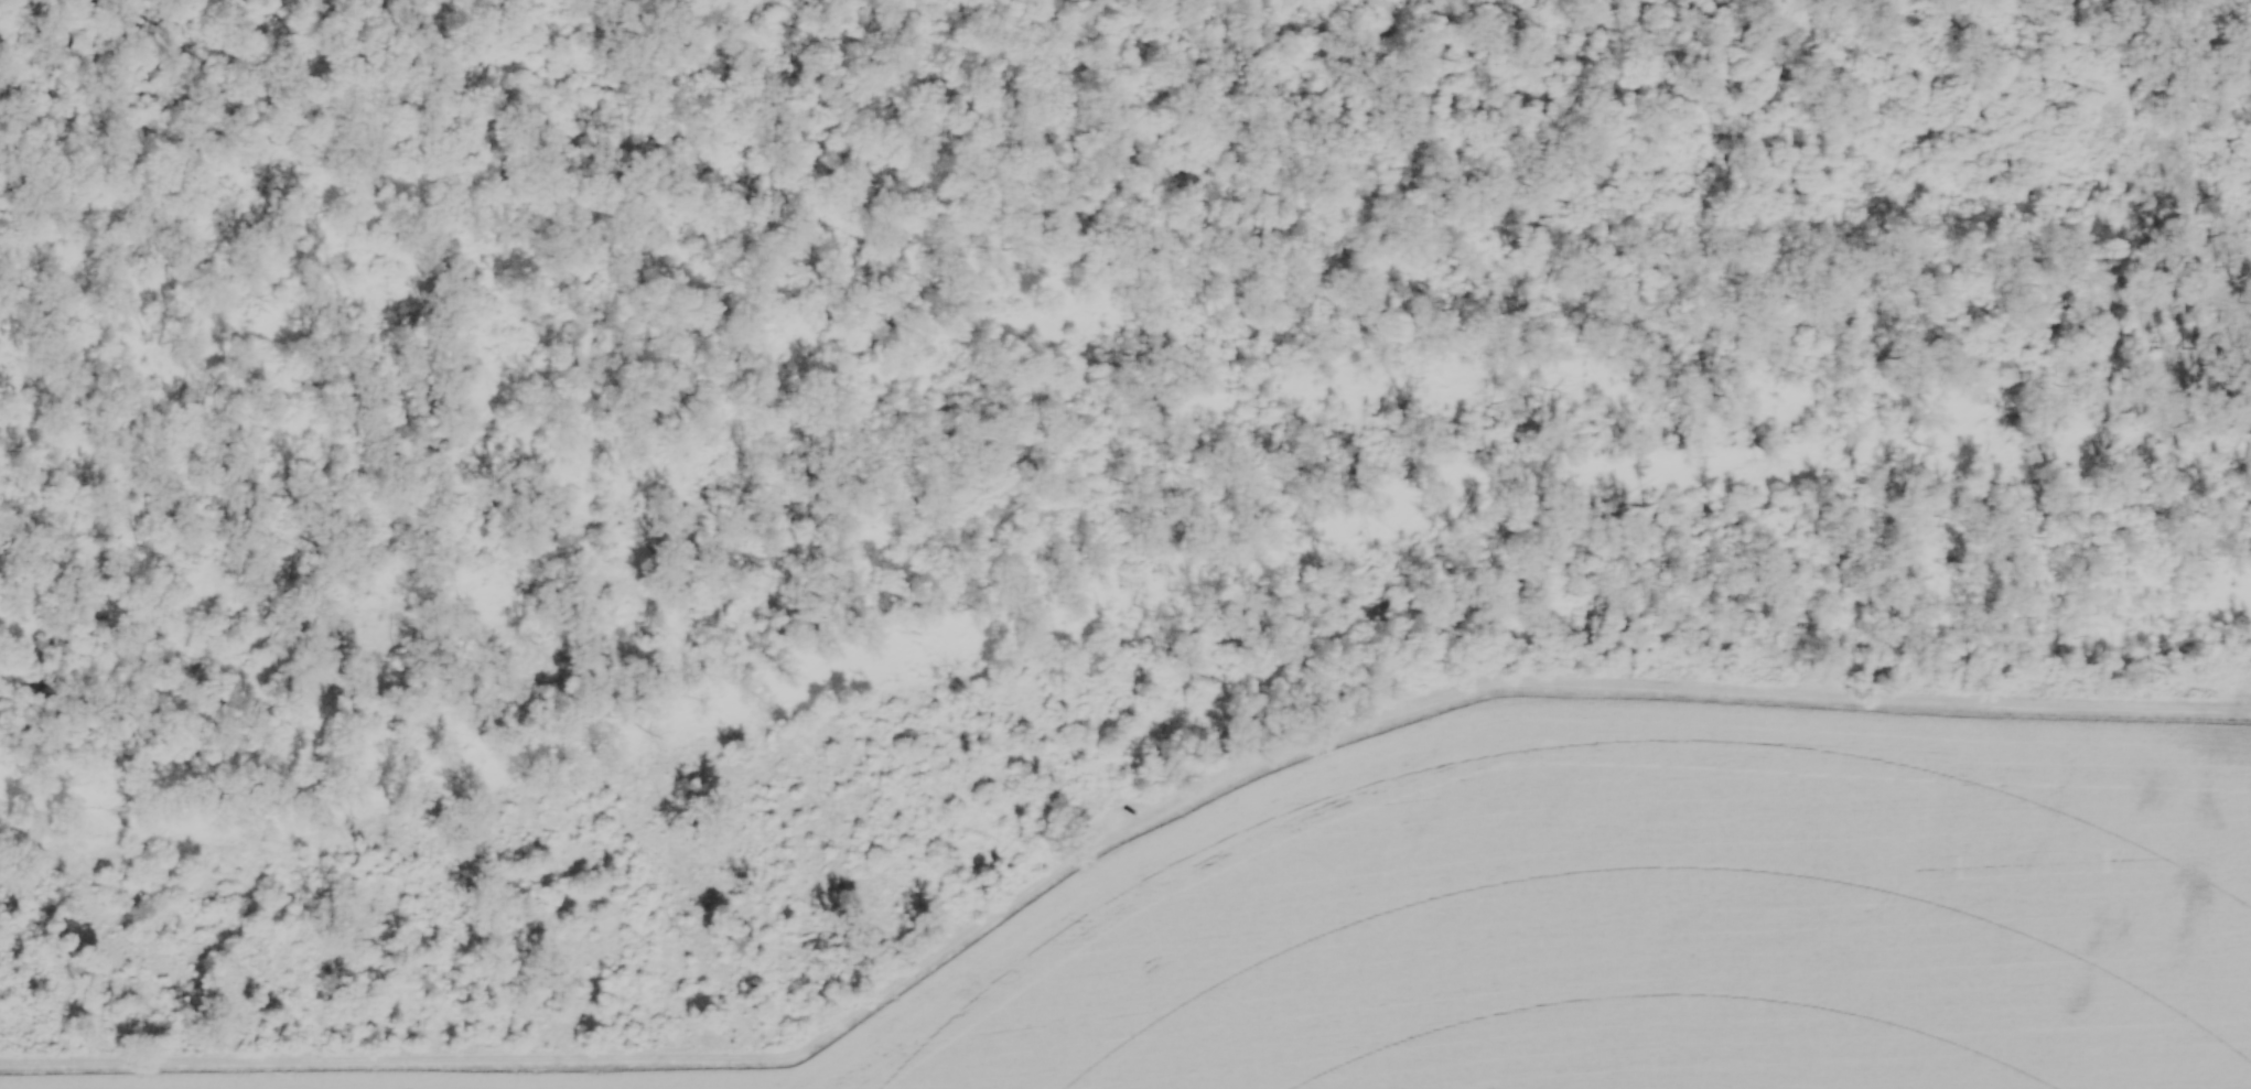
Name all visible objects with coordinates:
road: (1109, 835)
crop: (1588, 921)

